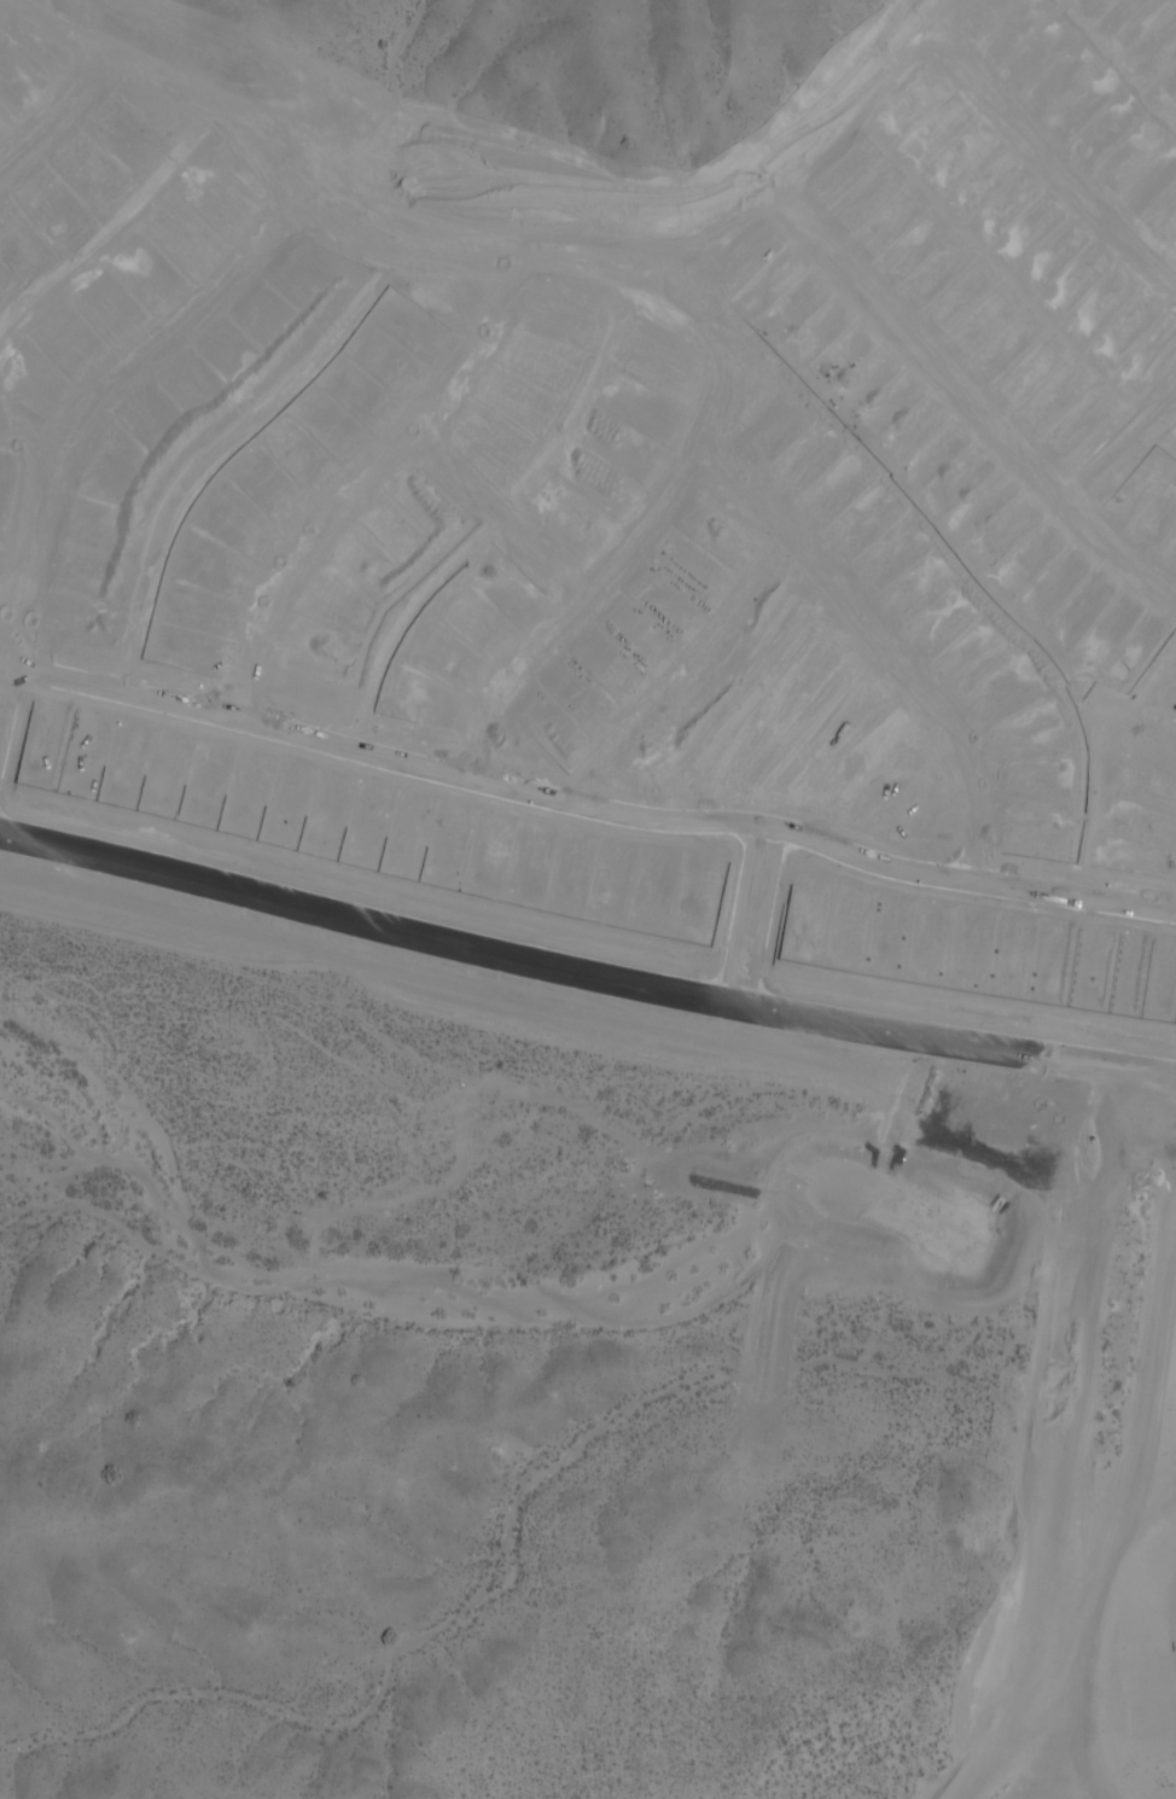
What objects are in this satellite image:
road: (59, 111)
road: (804, 153)
road: (1046, 155)
road: (303, 215)
road: (973, 389)
road: (85, 414)
road: (1120, 437)
road: (29, 442)
road: (360, 482)
road: (501, 512)
road: (633, 542)
road: (891, 645)
park: (788, 726)
park: (902, 772)
road: (586, 802)
road: (751, 914)
road: (581, 972)
road: (1172, 1079)
road: (1172, 1079)
road: (1172, 1096)
road: (1106, 1526)
stadium: (1145, 1654)

